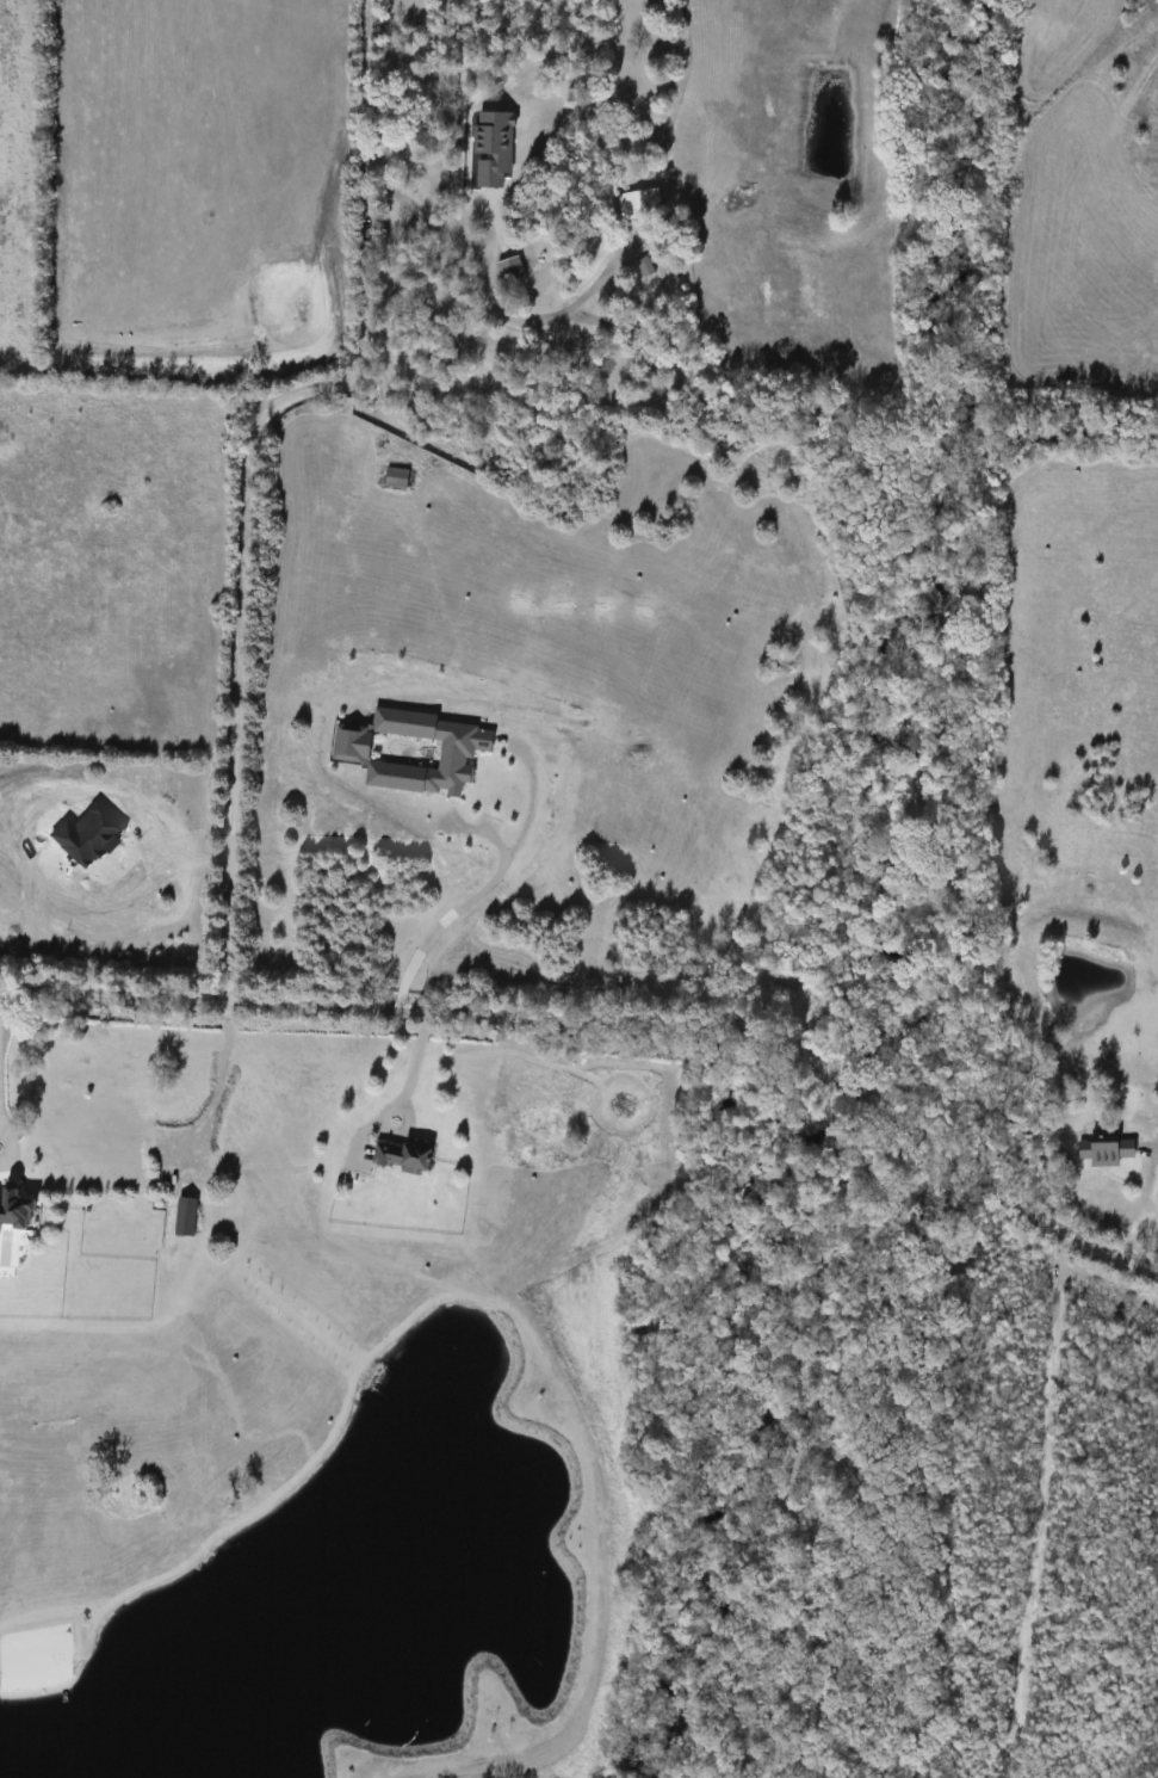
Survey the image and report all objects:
building: (490, 147)
road: (419, 211)
building: (643, 266)
building: (507, 268)
road: (249, 468)
road: (469, 897)
road: (613, 1021)
road: (215, 1085)
road: (403, 1089)
building: (1102, 1149)
building: (396, 1155)
building: (11, 1208)
building: (181, 1215)

